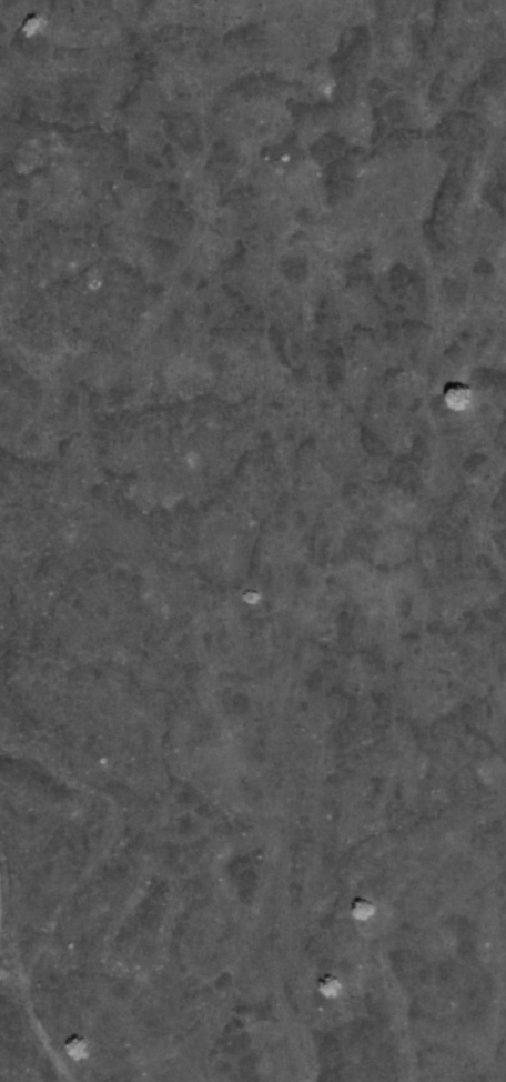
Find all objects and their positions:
road: (30, 1012)

